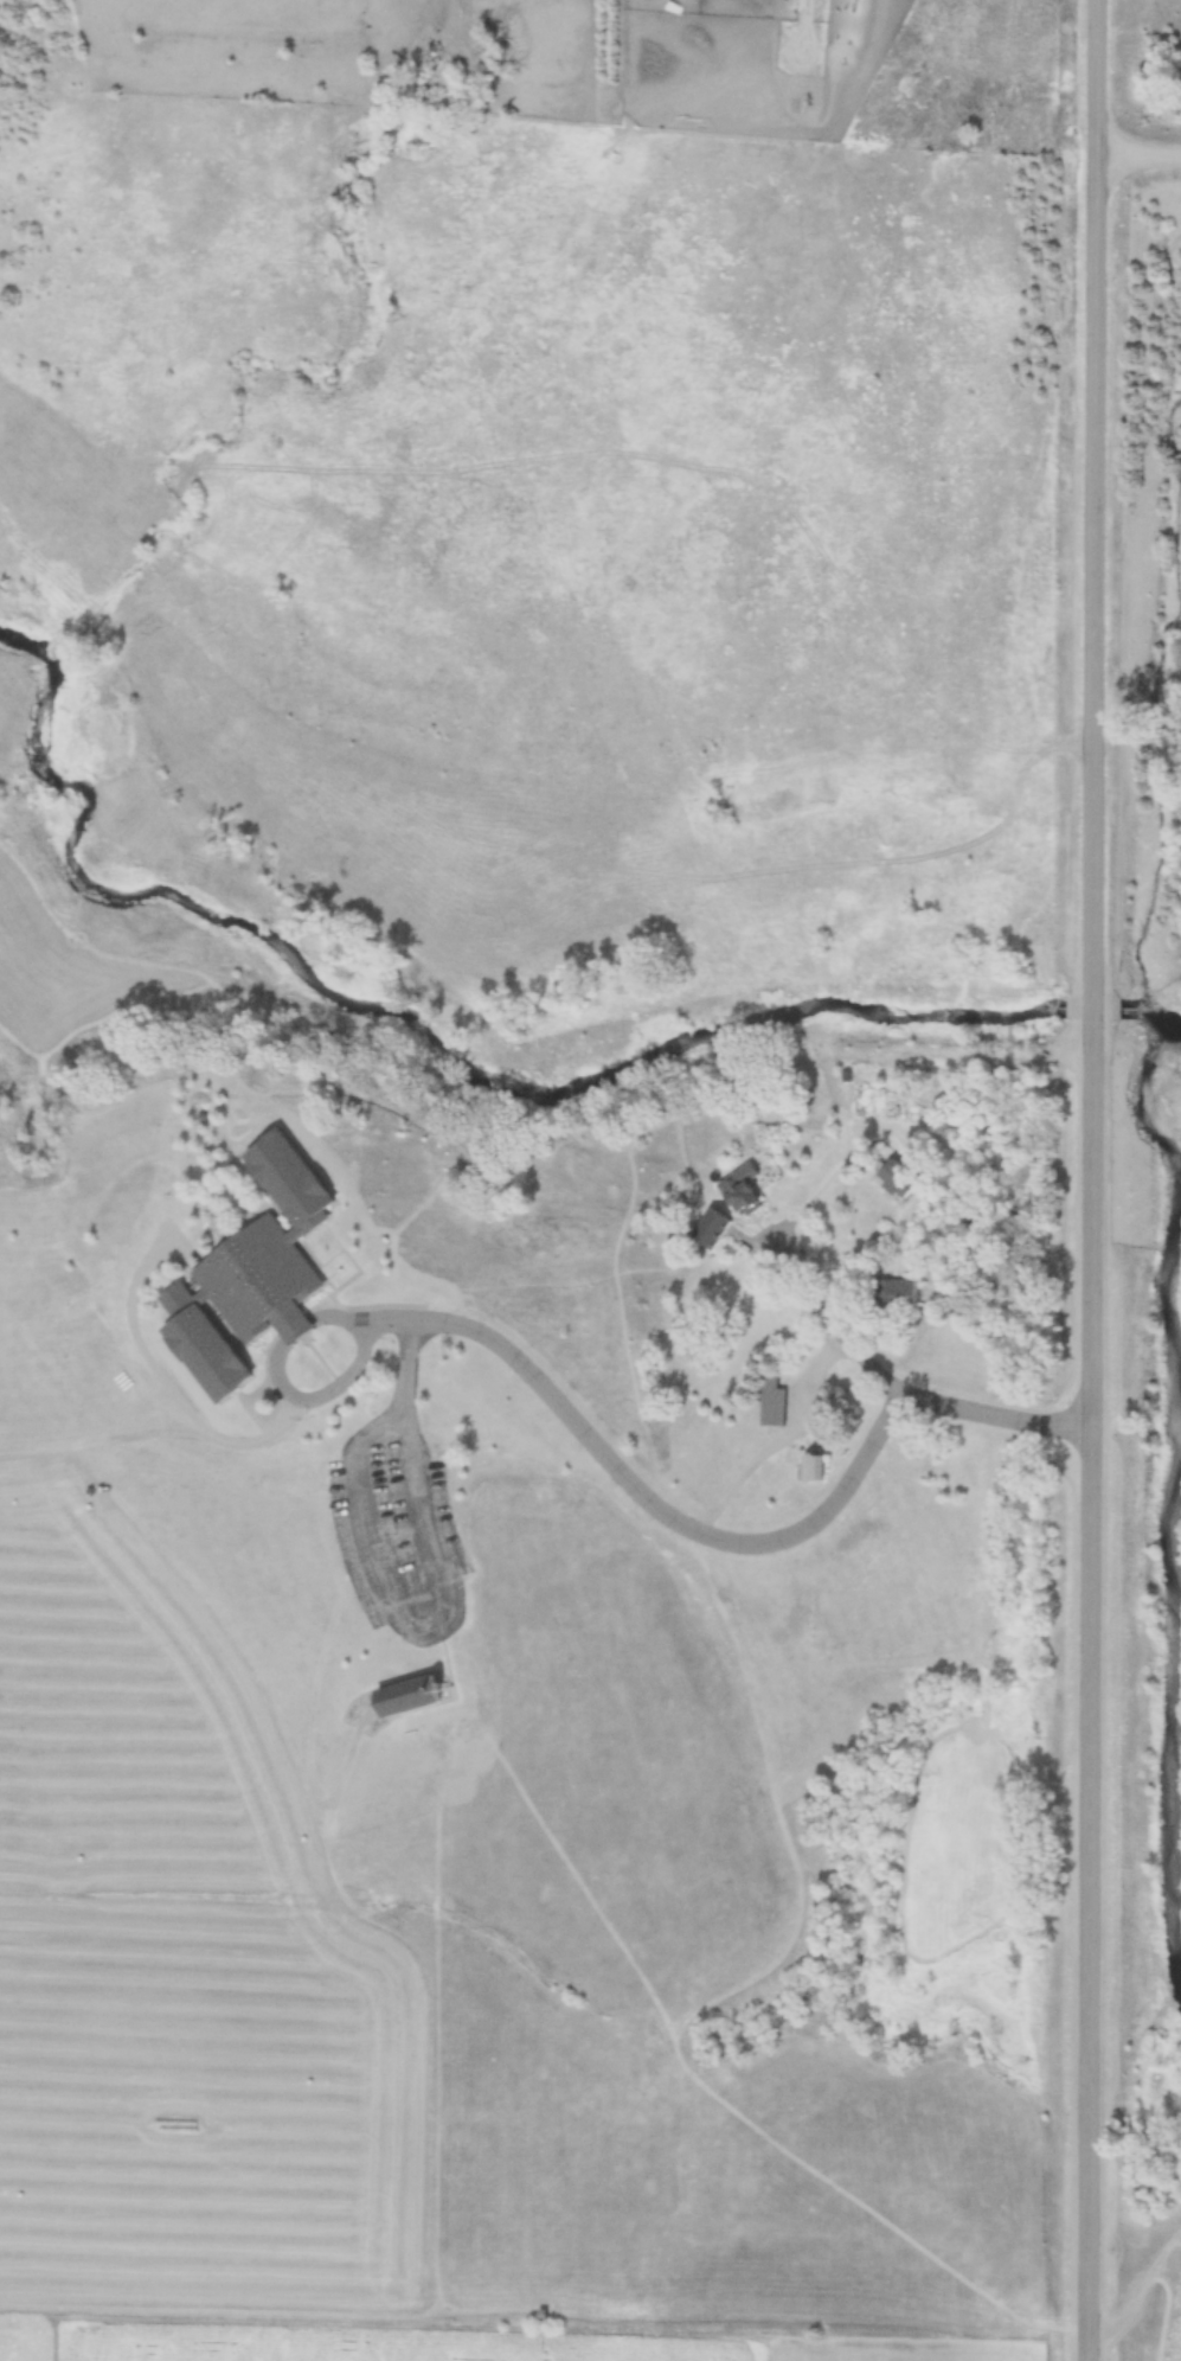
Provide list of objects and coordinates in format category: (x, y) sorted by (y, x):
road: (1140, 151)
river: (1089, 998)
river: (422, 1037)
road: (1093, 1180)
building: (901, 1191)
building: (739, 1198)
building: (711, 1241)
building: (250, 1280)
building: (897, 1299)
road: (839, 1341)
road: (280, 1390)
building: (771, 1412)
river: (1164, 1467)
building: (814, 1478)
parking lot: (397, 1534)
road: (726, 1543)
road: (447, 1623)

